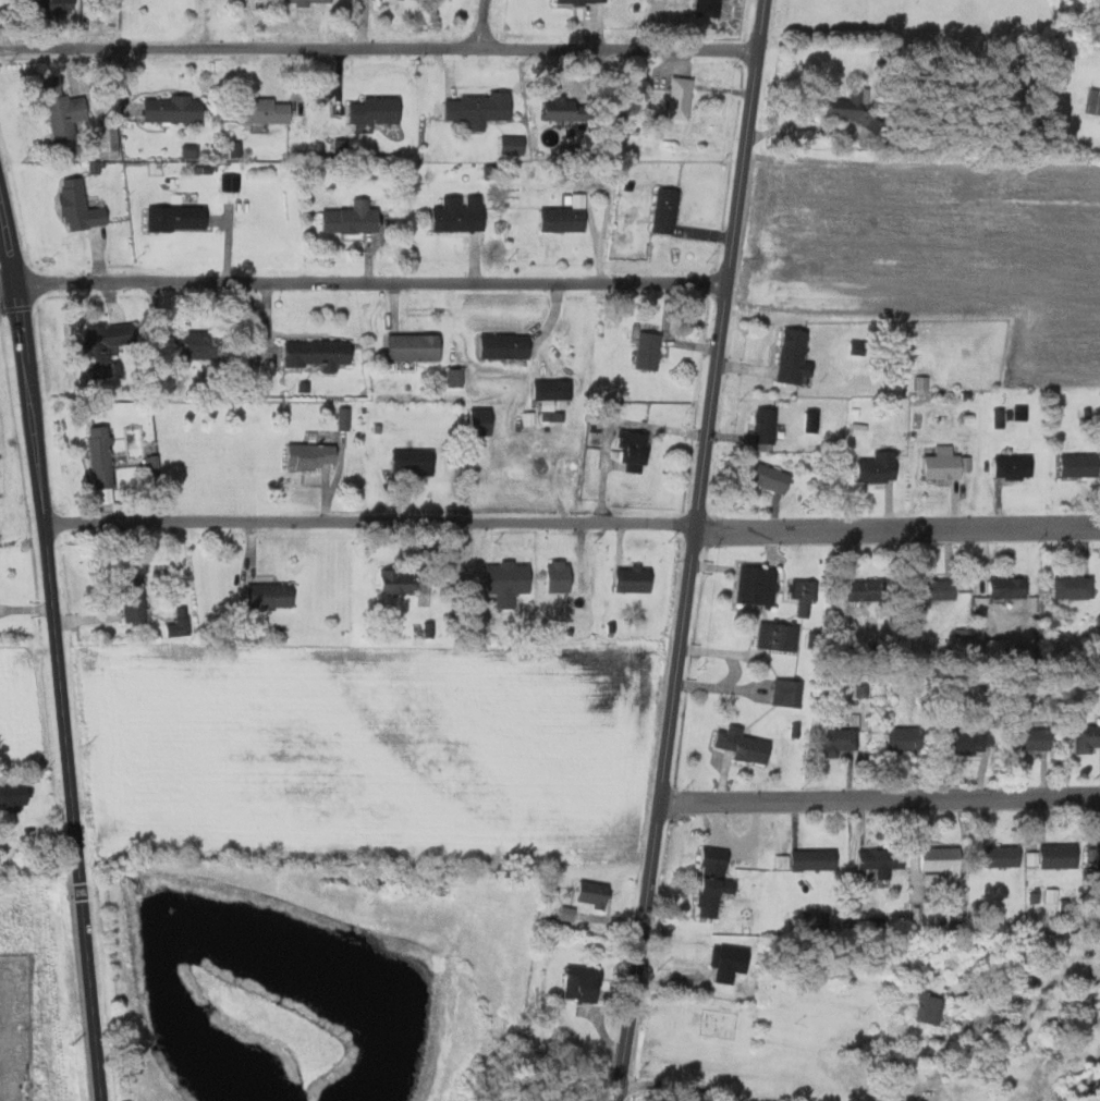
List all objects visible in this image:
building: (315, 1)
building: (582, 1)
building: (58, 9)
building: (708, 9)
road: (484, 24)
road: (379, 49)
building: (681, 98)
building: (1093, 102)
building: (550, 107)
building: (848, 107)
building: (174, 109)
building: (479, 109)
building: (575, 110)
building: (266, 111)
building: (377, 111)
building: (66, 117)
building: (109, 142)
building: (514, 146)
building: (187, 151)
building: (227, 183)
building: (80, 206)
building: (667, 209)
building: (461, 212)
building: (352, 218)
building: (564, 218)
building: (176, 219)
road: (8, 281)
road: (371, 282)
building: (106, 345)
building: (200, 346)
building: (415, 346)
building: (505, 346)
building: (649, 351)
building: (318, 352)
building: (795, 356)
building: (454, 377)
building: (919, 382)
building: (554, 390)
building: (480, 421)
building: (811, 421)
building: (767, 425)
building: (857, 429)
building: (633, 450)
building: (102, 456)
building: (310, 456)
building: (413, 461)
building: (1080, 465)
building: (945, 466)
building: (1014, 466)
building: (880, 467)
building: (770, 477)
road: (371, 521)
road: (899, 528)
road: (694, 550)
building: (558, 576)
building: (633, 579)
building: (395, 582)
building: (506, 583)
building: (757, 585)
building: (1011, 587)
building: (1075, 587)
building: (868, 589)
building: (938, 589)
building: (803, 595)
building: (271, 596)
building: (134, 599)
building: (180, 623)
building: (779, 636)
road: (57, 645)
building: (991, 647)
building: (785, 692)
building: (1088, 737)
building: (1032, 738)
building: (841, 739)
building: (906, 739)
building: (970, 739)
building: (745, 744)
building: (10, 796)
road: (879, 798)
building: (1060, 855)
building: (1003, 856)
building: (1095, 856)
building: (942, 857)
building: (882, 858)
building: (817, 859)
building: (783, 860)
building: (714, 882)
building: (415, 886)
building: (592, 893)
building: (1049, 895)
building: (563, 914)
building: (731, 961)
building: (584, 983)
building: (922, 1006)
road: (680, 1081)

